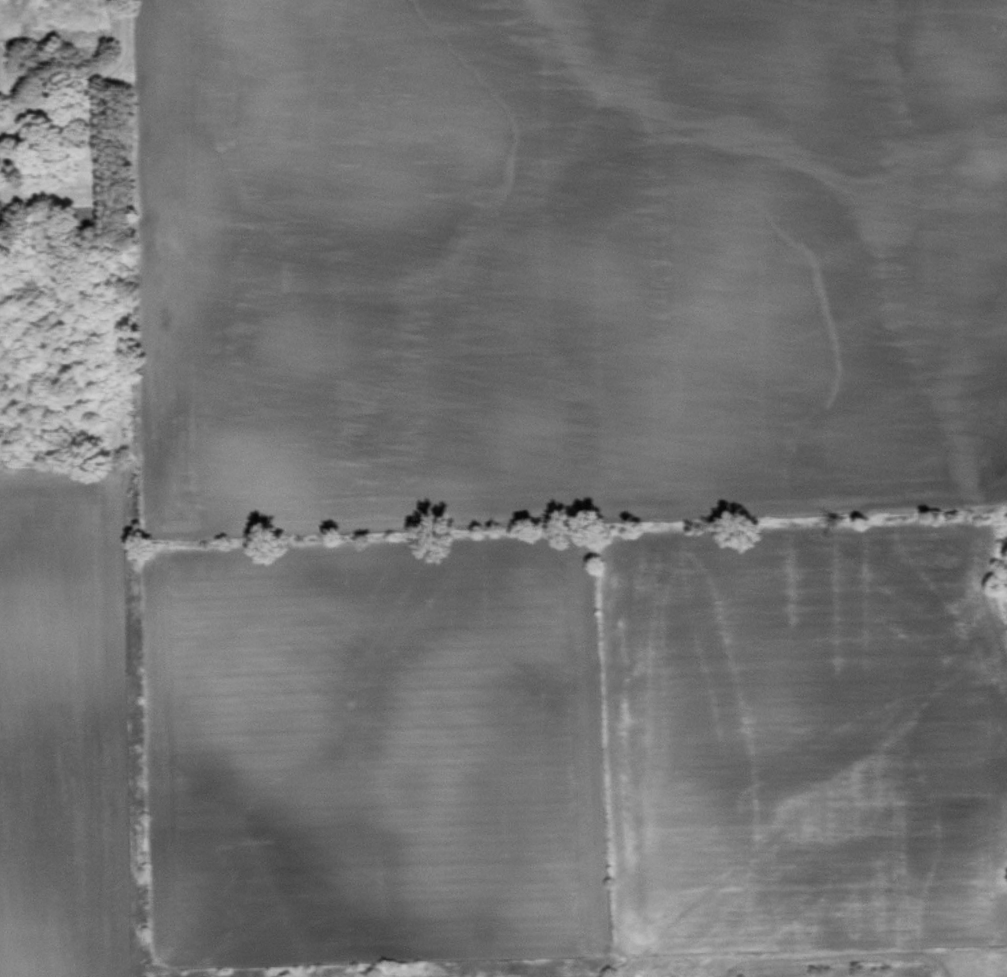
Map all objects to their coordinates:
road: (84, 78)

